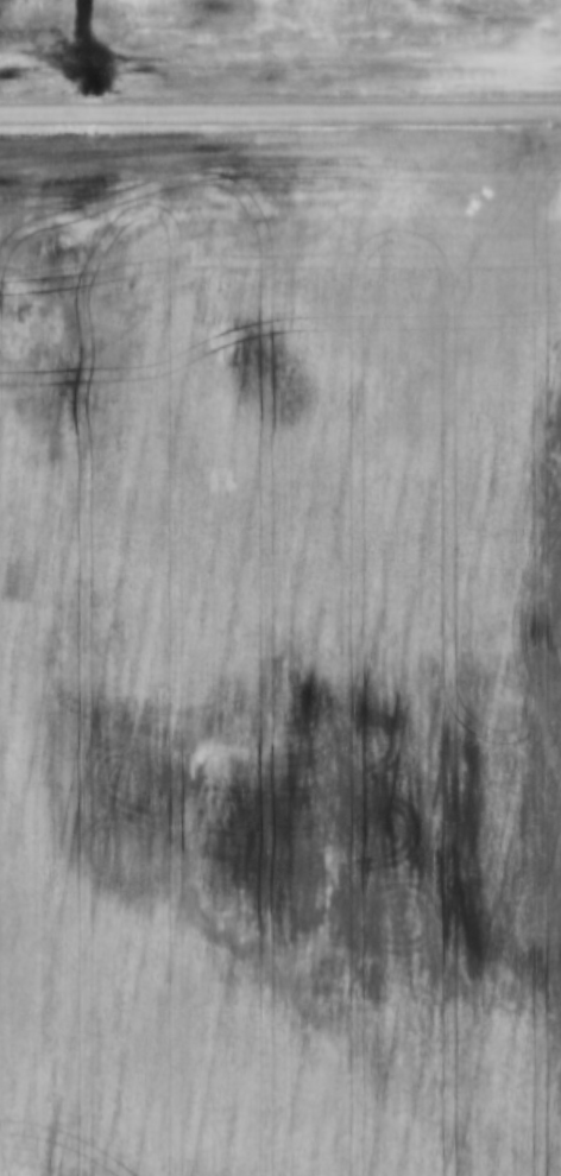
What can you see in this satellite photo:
road: (279, 97)

